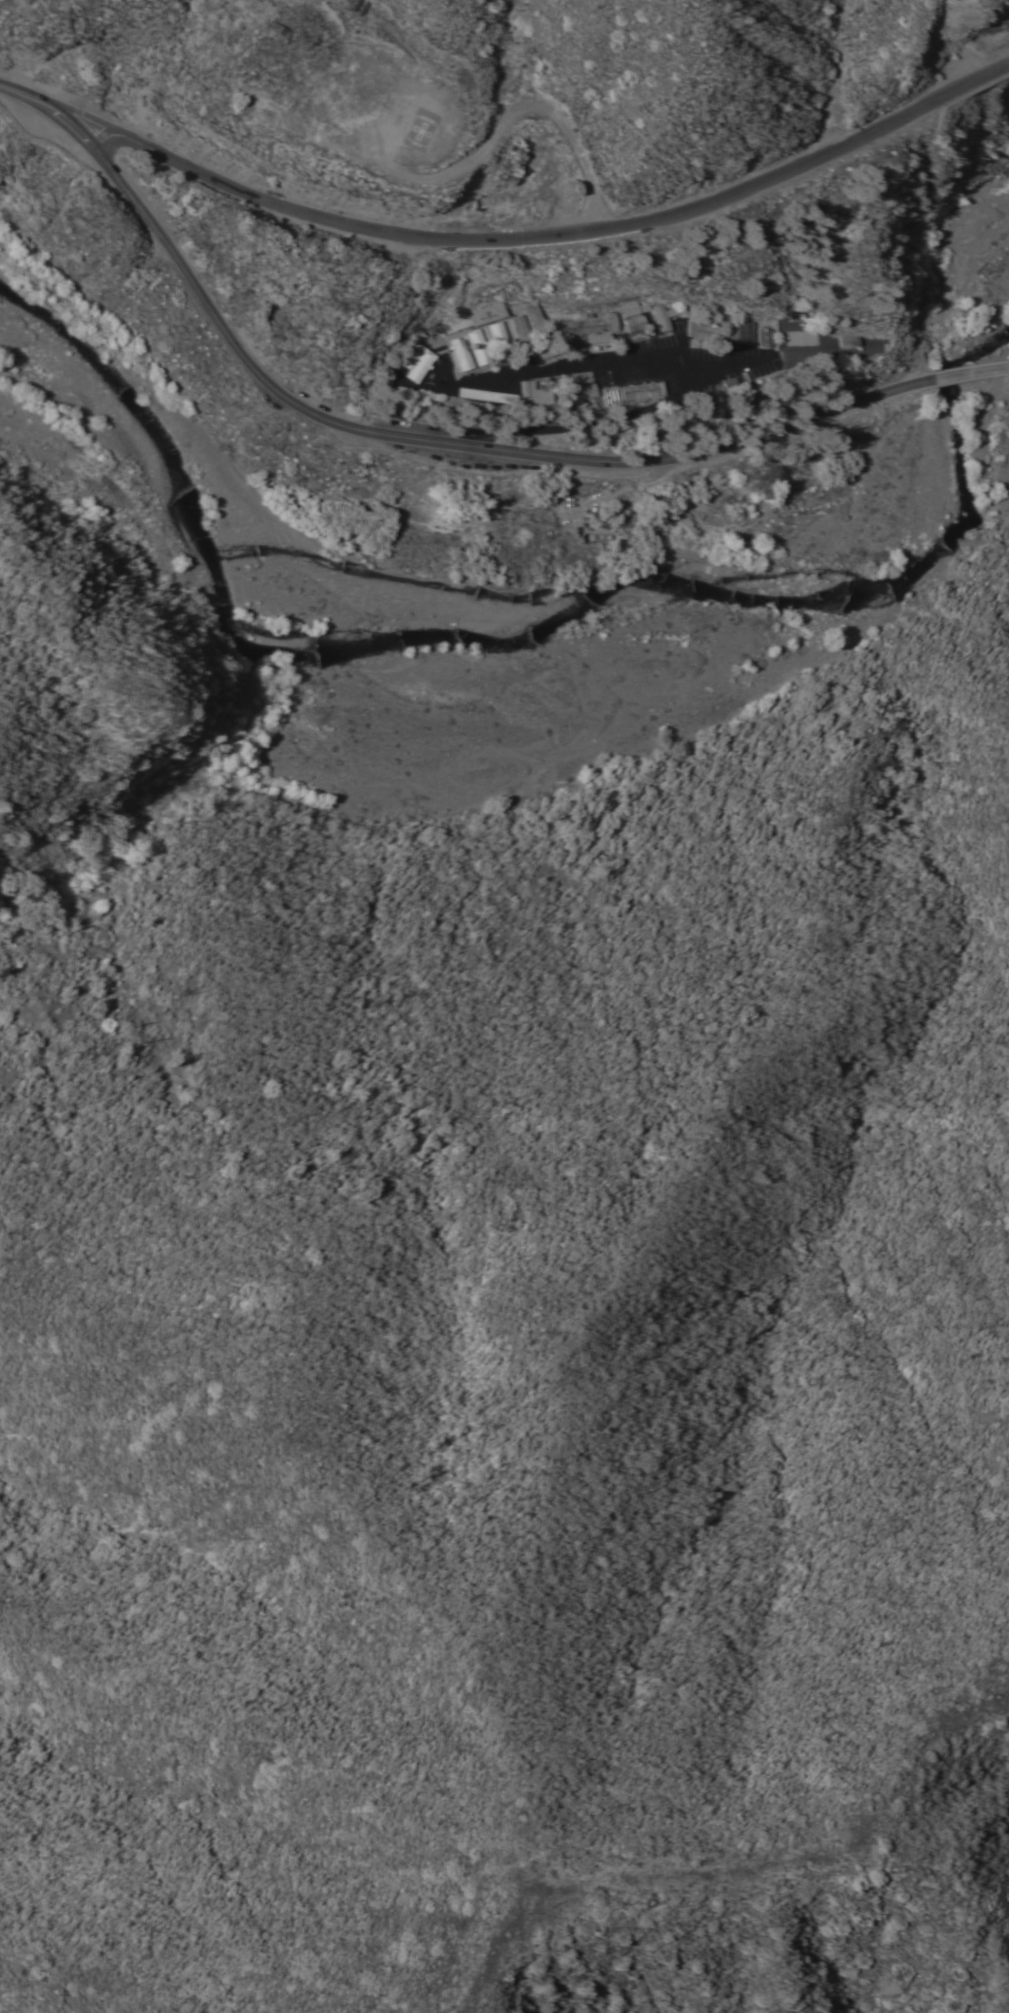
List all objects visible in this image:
building: (279, 29)
road: (66, 110)
road: (499, 120)
building: (572, 186)
road: (554, 236)
building: (631, 308)
building: (489, 312)
building: (668, 314)
building: (636, 322)
building: (587, 324)
building: (705, 329)
building: (738, 329)
building: (540, 330)
building: (522, 332)
building: (600, 337)
building: (767, 337)
building: (501, 338)
building: (844, 340)
building: (479, 345)
building: (461, 352)
building: (418, 360)
road: (573, 370)
road: (974, 373)
building: (640, 388)
building: (582, 390)
building: (533, 393)
building: (485, 394)
road: (613, 417)
road: (400, 437)
river: (535, 598)

